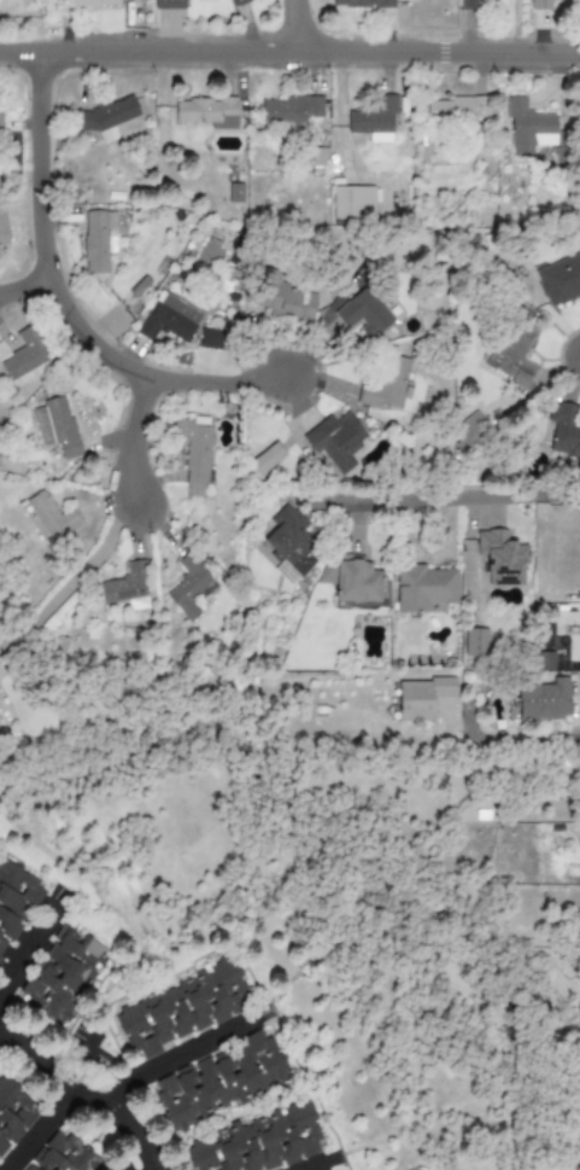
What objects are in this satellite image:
building: (236, 1)
building: (88, 2)
building: (168, 4)
building: (362, 4)
building: (473, 4)
building: (543, 5)
road: (305, 23)
road: (289, 46)
building: (457, 107)
building: (291, 110)
building: (207, 111)
building: (106, 116)
building: (1, 120)
building: (373, 120)
building: (526, 126)
building: (234, 192)
building: (352, 202)
building: (2, 229)
building: (98, 240)
building: (560, 280)
road: (29, 284)
road: (69, 295)
building: (283, 301)
building: (363, 314)
building: (168, 319)
building: (211, 338)
building: (512, 354)
building: (24, 357)
building: (386, 383)
building: (55, 427)
building: (563, 430)
road: (140, 431)
building: (334, 441)
building: (194, 455)
building: (266, 458)
road: (465, 496)
building: (49, 516)
building: (294, 546)
building: (502, 558)
road: (86, 571)
building: (357, 582)
building: (423, 587)
building: (125, 589)
building: (193, 589)
building: (475, 642)
building: (545, 663)
road: (503, 697)
building: (423, 699)
building: (544, 702)
building: (17, 904)
road: (33, 938)
building: (63, 976)
building: (181, 1012)
road: (181, 1050)
building: (219, 1082)
road: (92, 1084)
building: (14, 1113)
road: (45, 1124)
building: (266, 1140)
building: (64, 1154)
road: (315, 1162)

